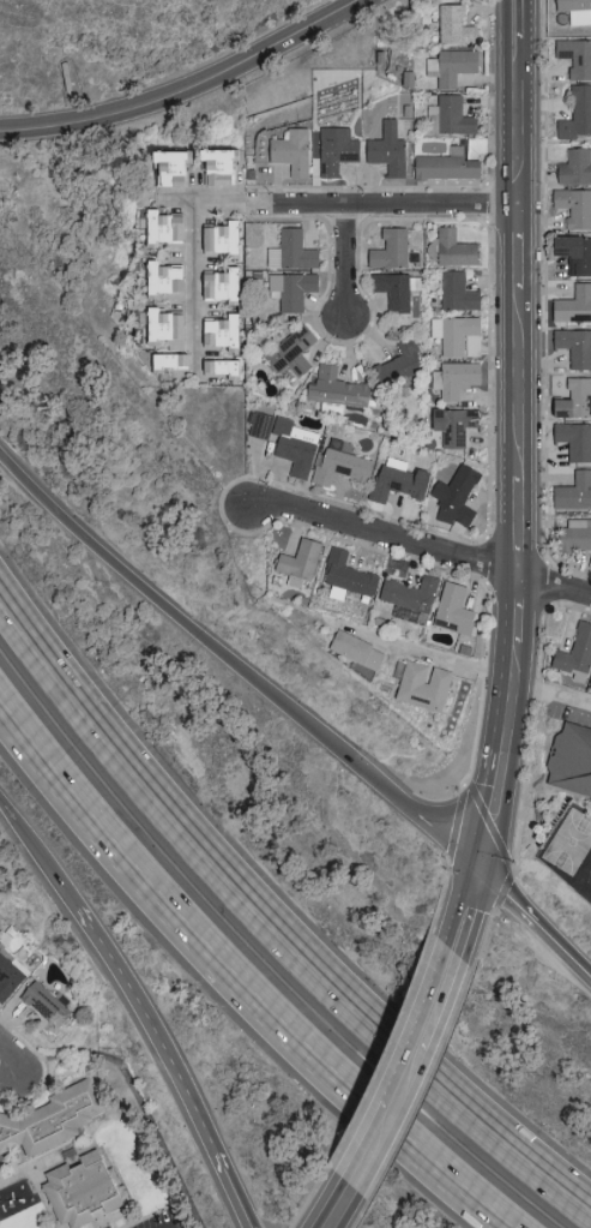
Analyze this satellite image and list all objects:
building: (574, 11)
building: (452, 25)
building: (574, 58)
building: (450, 66)
road: (193, 91)
building: (575, 114)
building: (446, 116)
building: (386, 149)
building: (333, 150)
building: (288, 151)
building: (211, 166)
building: (444, 166)
building: (162, 167)
building: (574, 167)
road: (379, 204)
building: (573, 206)
building: (158, 228)
building: (216, 238)
building: (387, 248)
building: (452, 248)
building: (290, 251)
building: (572, 253)
road: (344, 260)
road: (193, 262)
building: (159, 277)
building: (216, 284)
building: (393, 288)
building: (290, 289)
building: (456, 292)
building: (572, 305)
building: (159, 325)
building: (216, 331)
building: (457, 336)
building: (573, 347)
building: (288, 353)
building: (167, 360)
building: (397, 364)
building: (216, 367)
building: (454, 378)
building: (333, 388)
building: (572, 400)
building: (451, 424)
building: (258, 425)
road: (519, 436)
building: (573, 441)
building: (293, 445)
building: (338, 463)
building: (394, 480)
building: (573, 492)
building: (453, 496)
building: (573, 535)
road: (418, 543)
building: (296, 561)
building: (343, 575)
building: (406, 592)
building: (451, 607)
building: (352, 648)
building: (573, 653)
road: (433, 655)
road: (237, 666)
building: (420, 684)
road: (550, 691)
building: (573, 760)
road: (40, 857)
traffic signals: (480, 869)
road: (466, 913)
road: (535, 921)
road: (266, 933)
building: (8, 972)
road: (239, 982)
building: (43, 1008)
road: (13, 1061)
road: (174, 1065)
road: (13, 1080)
road: (399, 1083)
road: (143, 1108)
building: (50, 1116)
building: (76, 1188)
road: (334, 1216)
road: (175, 1224)

